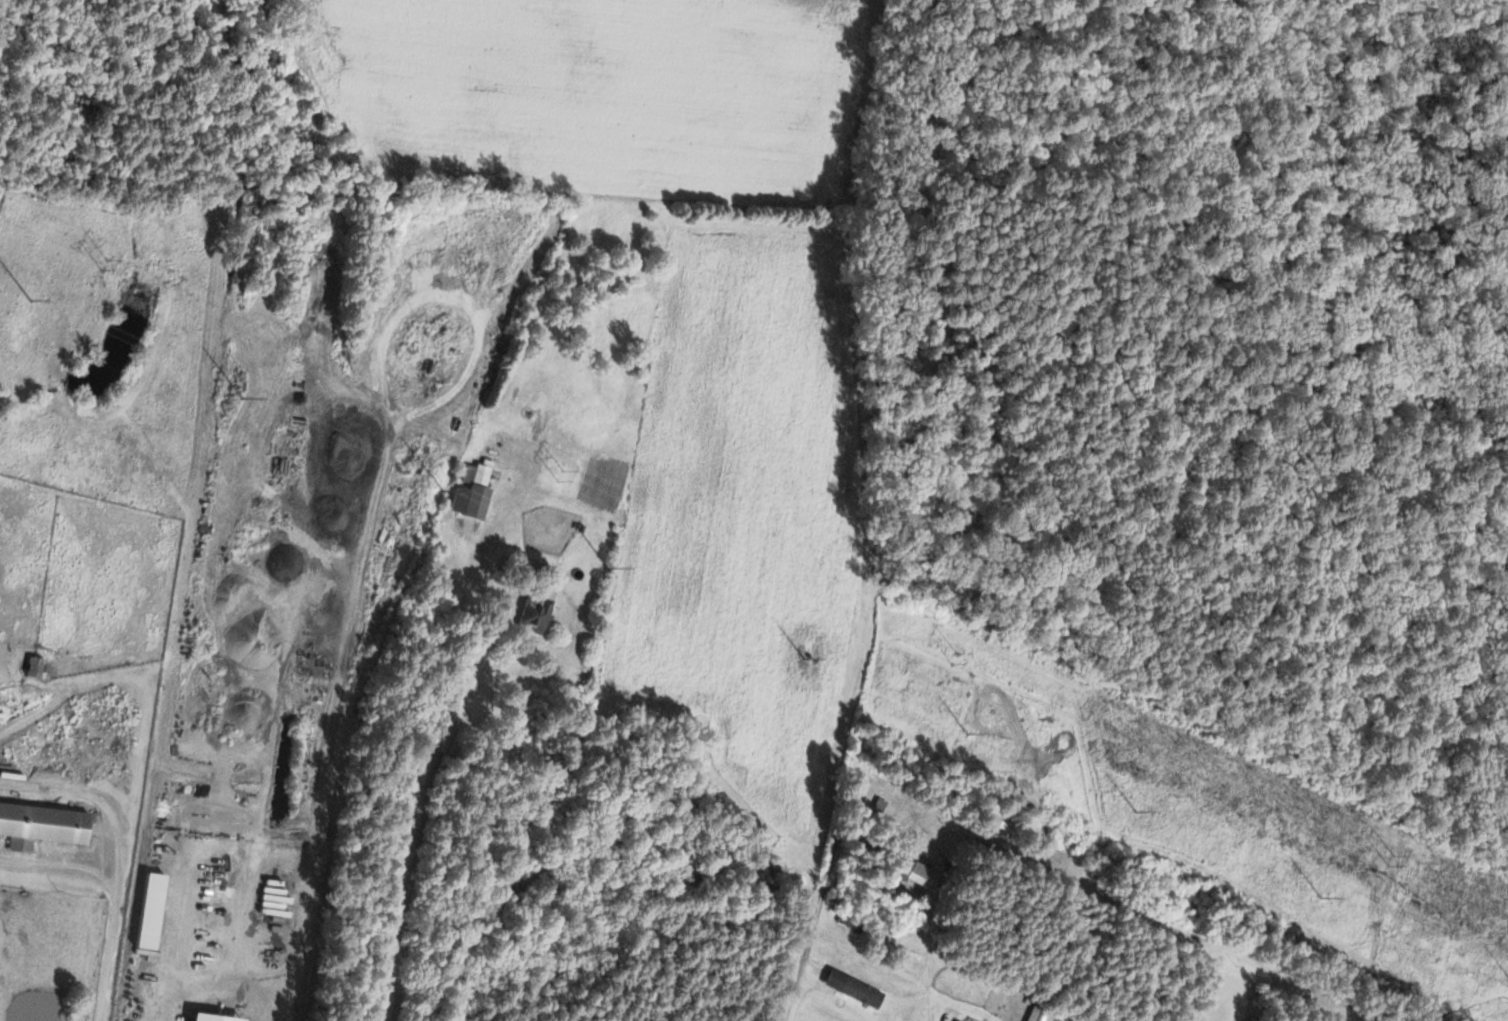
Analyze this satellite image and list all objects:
power tower: (103, 266)
power tower: (31, 300)
power tower: (243, 399)
power tower: (560, 477)
power tower: (440, 493)
building: (469, 494)
power tower: (607, 570)
building: (531, 610)
power tower: (801, 660)
power tower: (954, 660)
building: (30, 668)
power tower: (963, 736)
road: (94, 801)
road: (414, 810)
power tower: (1133, 815)
building: (40, 827)
power tower: (1392, 861)
road: (60, 868)
building: (918, 876)
power tower: (1321, 899)
road: (107, 957)
building: (850, 990)
building: (1037, 1014)

